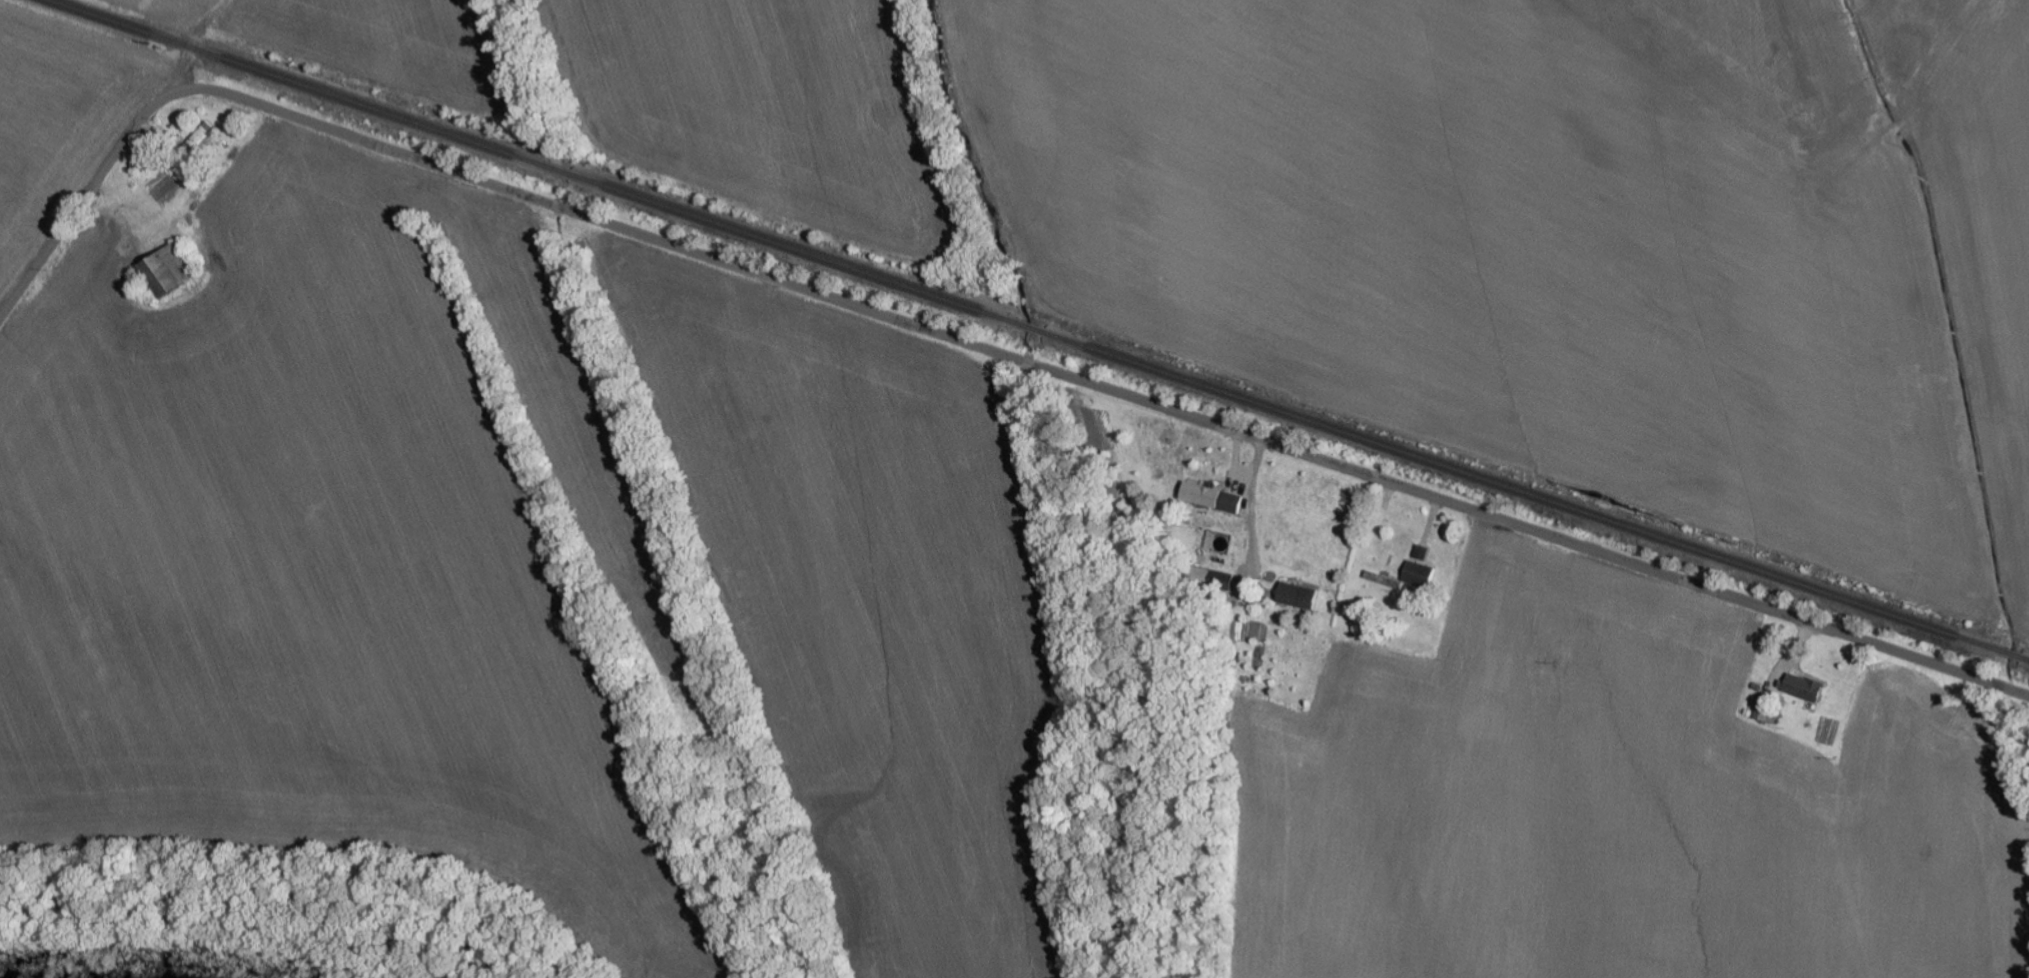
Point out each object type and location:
railway: (296, 84)
railway: (561, 171)
railway: (790, 247)
building: (169, 270)
railway: (1027, 326)
road: (966, 344)
road: (1247, 477)
railway: (1523, 492)
building: (1213, 498)
road: (1259, 536)
building: (1216, 578)
building: (1411, 578)
building: (1300, 597)
railway: (2011, 656)
railway: (2026, 660)
building: (1805, 688)
building: (1768, 716)

